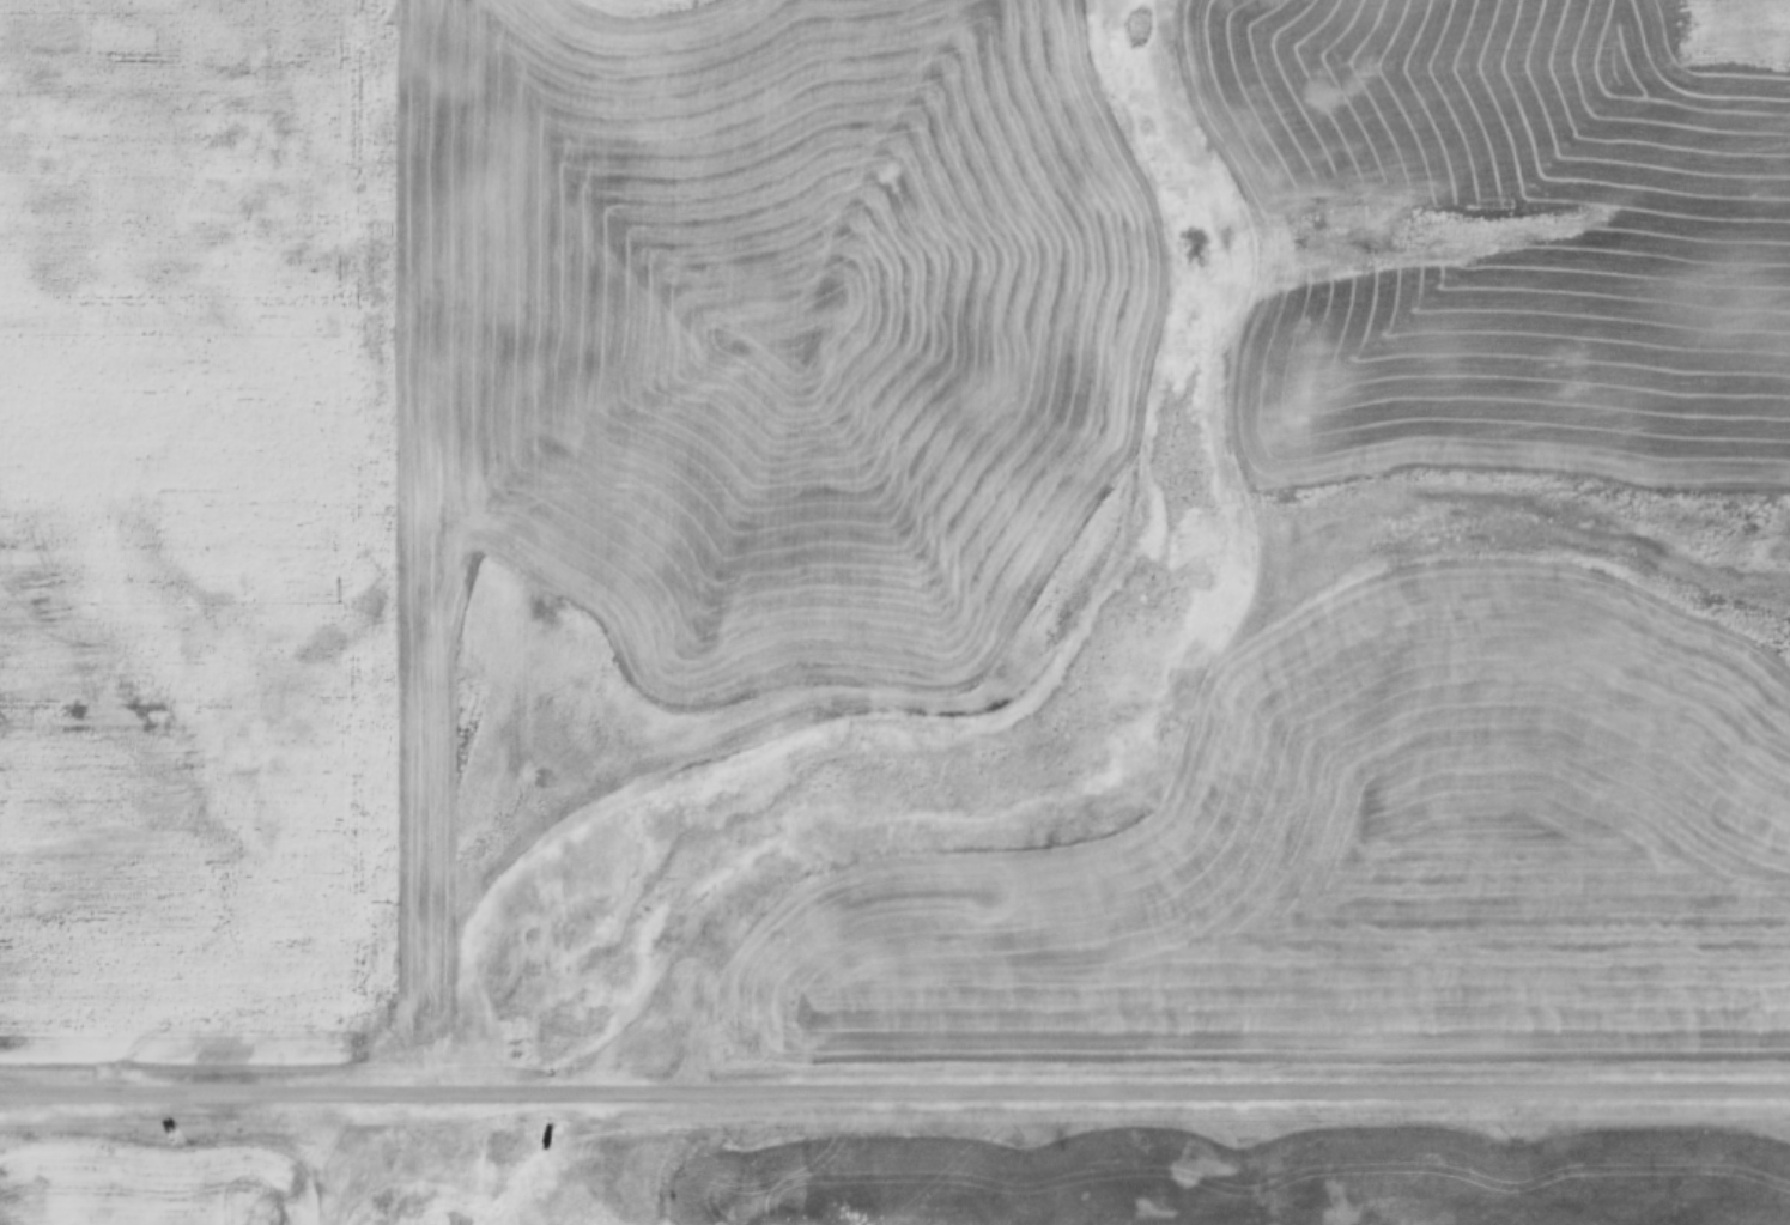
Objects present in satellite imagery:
road: (894, 1086)

